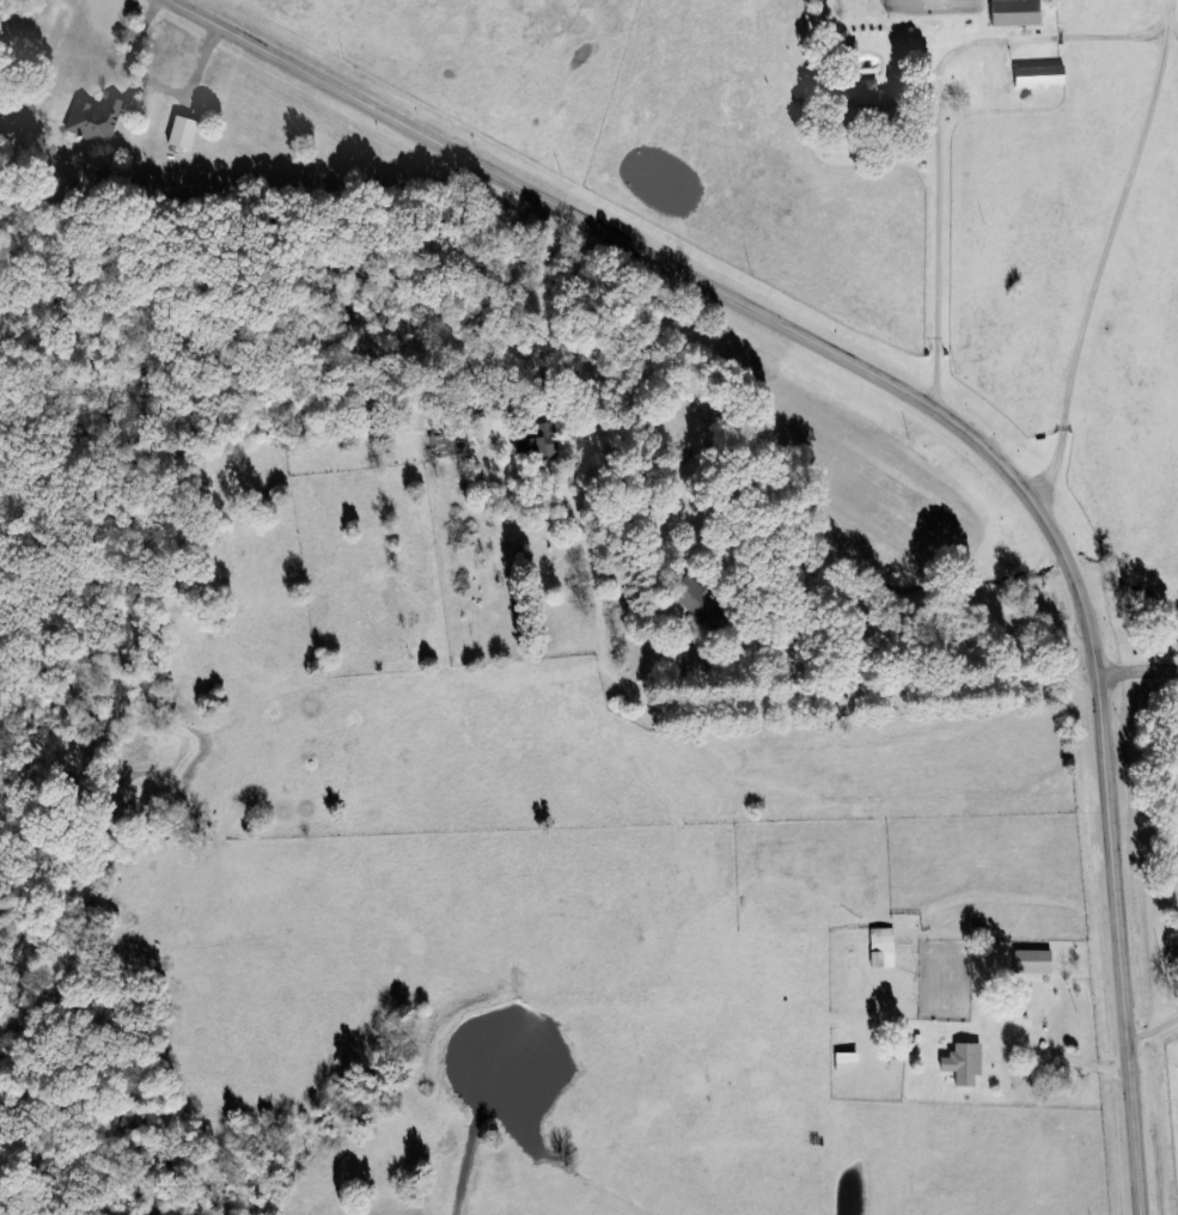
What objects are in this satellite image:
building: (1009, 14)
road: (1161, 20)
road: (1112, 38)
building: (1034, 78)
building: (860, 103)
building: (92, 122)
road: (932, 409)
building: (537, 446)
road: (880, 586)
building: (701, 604)
building: (695, 663)
road: (1139, 674)
building: (770, 944)
building: (879, 951)
building: (1029, 964)
road: (1153, 1031)
building: (842, 1063)
building: (956, 1071)

